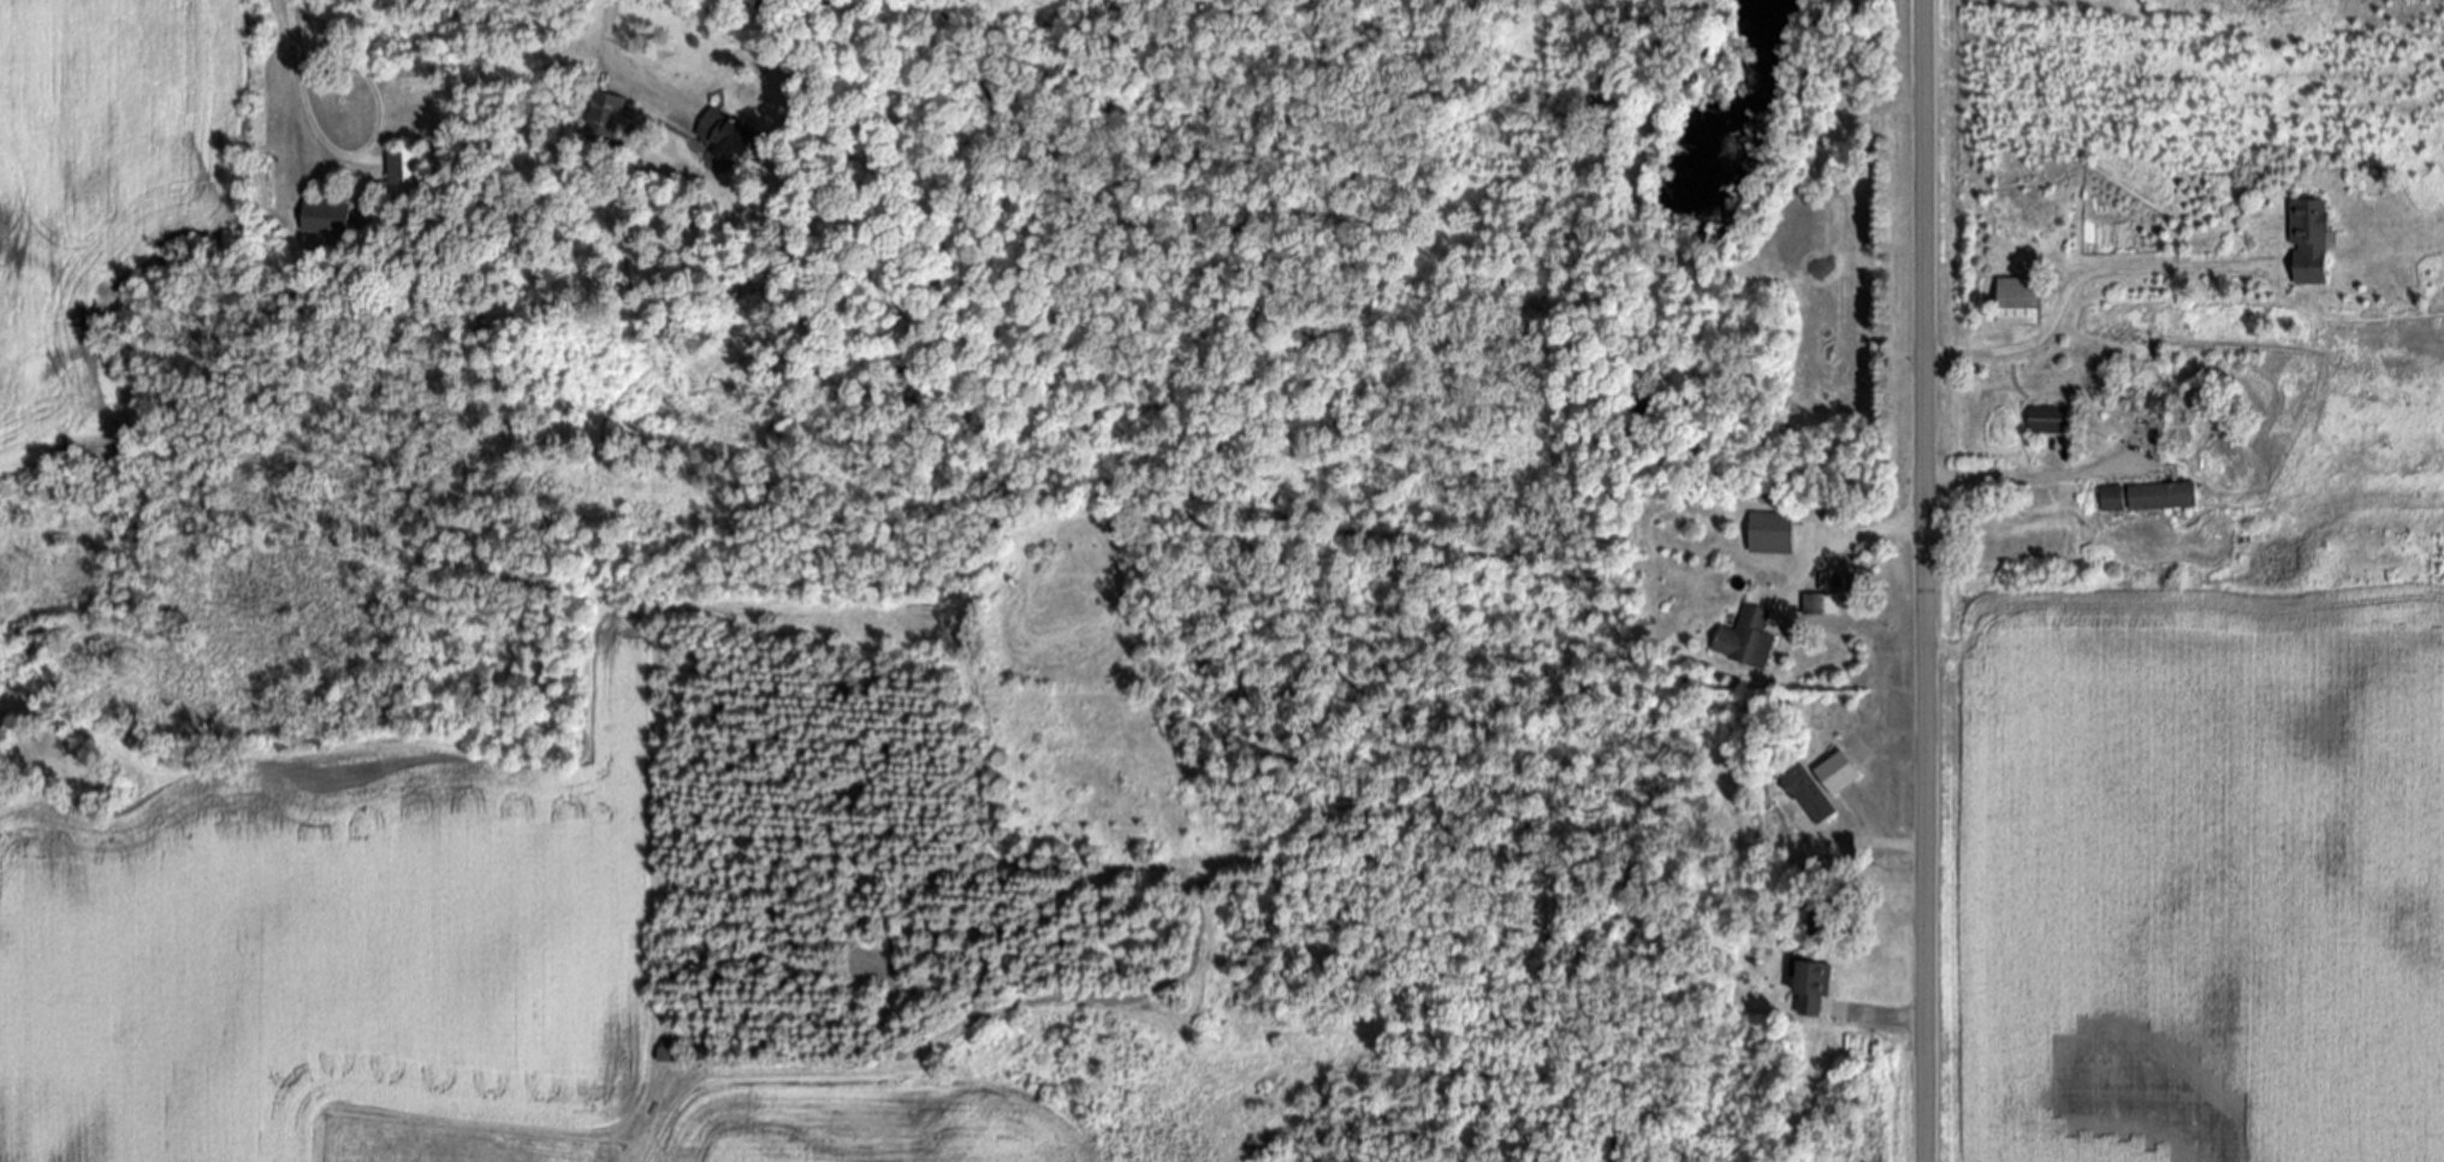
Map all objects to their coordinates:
road: (611, 45)
building: (609, 114)
building: (726, 140)
road: (360, 154)
building: (405, 173)
building: (330, 217)
building: (2314, 241)
road: (2076, 286)
building: (2022, 301)
building: (2054, 420)
road: (2025, 474)
building: (2166, 496)
building: (2116, 498)
building: (1775, 533)
road: (1844, 540)
road: (1923, 581)
building: (1822, 604)
building: (1749, 639)
building: (1840, 773)
building: (1809, 794)
road: (1887, 843)
building: (1822, 921)
building: (1815, 989)
road: (1890, 1019)

